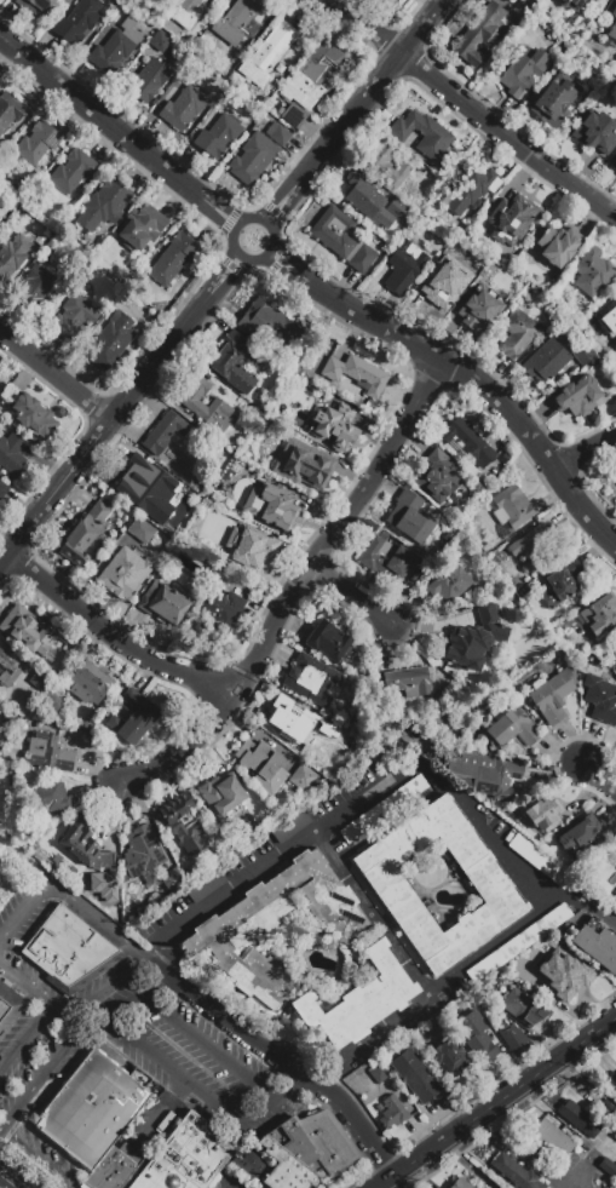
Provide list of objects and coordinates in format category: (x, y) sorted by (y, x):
building: (382, 0)
building: (501, 0)
building: (35, 6)
building: (571, 7)
building: (512, 8)
building: (188, 11)
building: (611, 19)
building: (236, 21)
building: (77, 22)
building: (518, 23)
building: (478, 36)
building: (160, 41)
building: (115, 48)
building: (267, 56)
building: (280, 68)
building: (523, 74)
building: (150, 80)
building: (307, 85)
building: (554, 103)
building: (182, 109)
road: (471, 110)
building: (10, 111)
road: (353, 111)
building: (597, 131)
road: (117, 132)
building: (277, 134)
building: (422, 134)
building: (219, 136)
building: (36, 144)
building: (253, 159)
building: (614, 163)
building: (386, 165)
building: (614, 168)
building: (73, 172)
building: (471, 190)
building: (373, 203)
building: (104, 205)
building: (512, 216)
building: (142, 228)
building: (342, 240)
building: (557, 247)
road: (235, 252)
building: (13, 256)
building: (506, 258)
building: (173, 259)
building: (403, 268)
building: (593, 272)
building: (443, 283)
building: (34, 287)
building: (480, 309)
building: (608, 314)
building: (77, 321)
building: (269, 328)
building: (519, 333)
building: (111, 342)
building: (582, 354)
building: (546, 361)
building: (594, 362)
building: (232, 365)
building: (356, 375)
road: (462, 375)
road: (54, 378)
building: (6, 385)
building: (577, 397)
building: (191, 404)
road: (119, 411)
building: (31, 417)
building: (336, 426)
building: (163, 434)
building: (467, 442)
building: (11, 453)
road: (586, 453)
building: (505, 460)
building: (304, 465)
building: (615, 475)
building: (240, 476)
building: (263, 476)
building: (439, 476)
building: (136, 481)
building: (2, 490)
building: (271, 503)
building: (511, 507)
building: (172, 510)
building: (410, 518)
building: (167, 526)
building: (140, 530)
building: (84, 534)
building: (532, 549)
building: (251, 550)
building: (386, 557)
building: (125, 574)
building: (449, 584)
road: (293, 586)
building: (559, 587)
road: (353, 598)
building: (163, 602)
building: (219, 613)
building: (595, 618)
building: (28, 630)
road: (111, 636)
building: (474, 641)
building: (328, 642)
building: (614, 662)
building: (5, 668)
building: (40, 679)
building: (307, 681)
building: (408, 682)
building: (88, 685)
building: (553, 695)
building: (600, 700)
building: (51, 704)
building: (133, 718)
building: (290, 724)
building: (84, 727)
building: (510, 728)
building: (47, 753)
building: (263, 761)
building: (485, 770)
road: (600, 771)
building: (301, 779)
building: (221, 793)
building: (48, 799)
building: (493, 807)
building: (385, 811)
building: (543, 814)
building: (183, 823)
building: (290, 827)
road: (487, 830)
building: (581, 834)
building: (81, 840)
building: (144, 850)
road: (290, 850)
road: (332, 854)
road: (19, 855)
building: (108, 860)
building: (540, 861)
building: (171, 878)
crop: (8, 883)
building: (206, 886)
building: (391, 890)
building: (614, 903)
road: (588, 907)
road: (24, 911)
road: (96, 914)
road: (387, 935)
road: (495, 943)
building: (518, 943)
building: (598, 943)
building: (221, 951)
building: (69, 952)
road: (167, 952)
road: (159, 983)
building: (553, 988)
road: (110, 989)
road: (27, 991)
building: (10, 1006)
building: (523, 1009)
building: (473, 1014)
road: (79, 1029)
road: (386, 1032)
road: (586, 1038)
building: (514, 1039)
road: (27, 1046)
building: (482, 1049)
road: (286, 1055)
building: (451, 1063)
road: (327, 1073)
building: (378, 1073)
building: (415, 1075)
road: (40, 1080)
building: (388, 1086)
building: (614, 1086)
road: (295, 1087)
building: (591, 1092)
road: (276, 1100)
road: (166, 1104)
building: (91, 1107)
building: (379, 1108)
building: (392, 1113)
road: (474, 1117)
building: (580, 1119)
building: (615, 1137)
building: (553, 1140)
building: (306, 1150)
road: (526, 1150)
building: (611, 1155)
road: (38, 1158)
building: (185, 1158)
building: (248, 1165)
building: (608, 1167)
building: (115, 1169)
building: (516, 1172)
road: (1, 1173)
road: (11, 1178)
road: (385, 1182)
road: (226, 1184)
building: (461, 1184)
road: (386, 1186)

